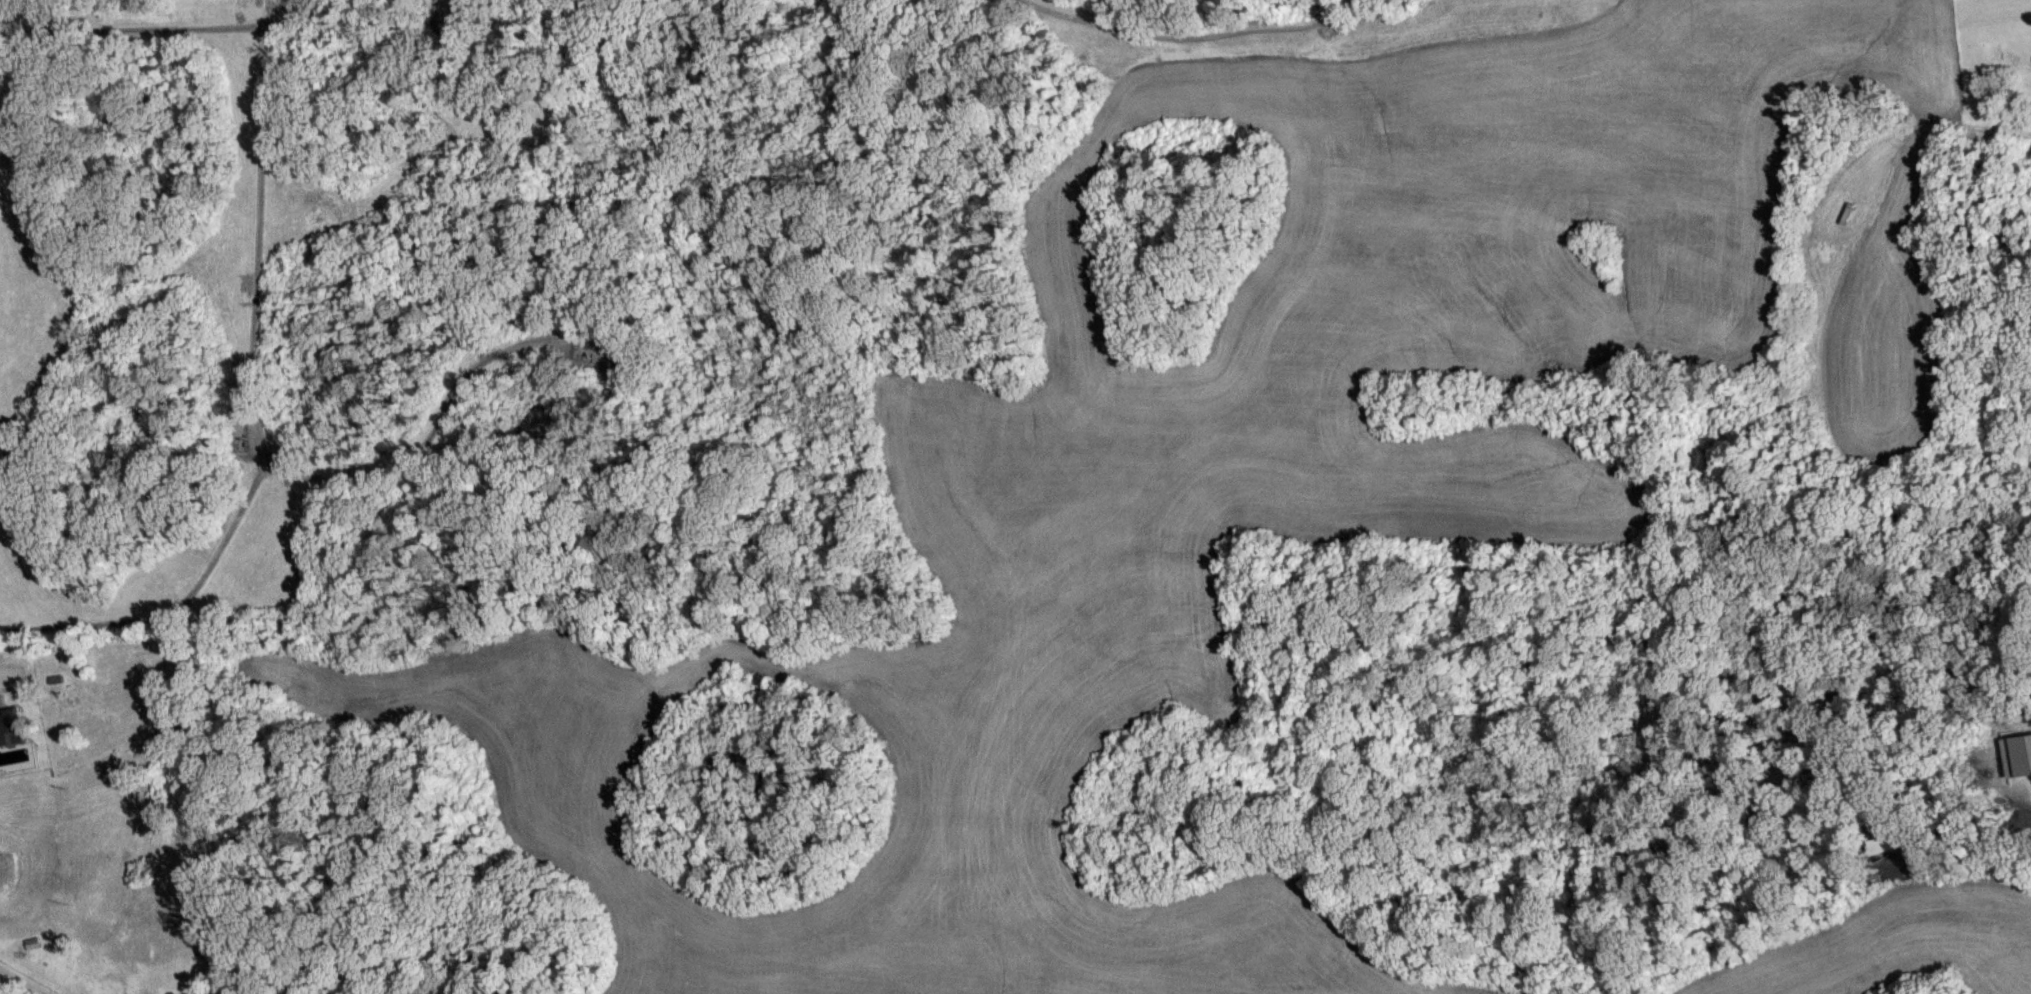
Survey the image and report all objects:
road: (277, 9)
road: (136, 30)
road: (1188, 39)
road: (1987, 126)
road: (451, 399)
road: (256, 414)
road: (274, 460)
road: (273, 468)
crop: (1243, 476)
building: (11, 726)
building: (1882, 844)
crop: (1888, 942)
road: (22, 981)

